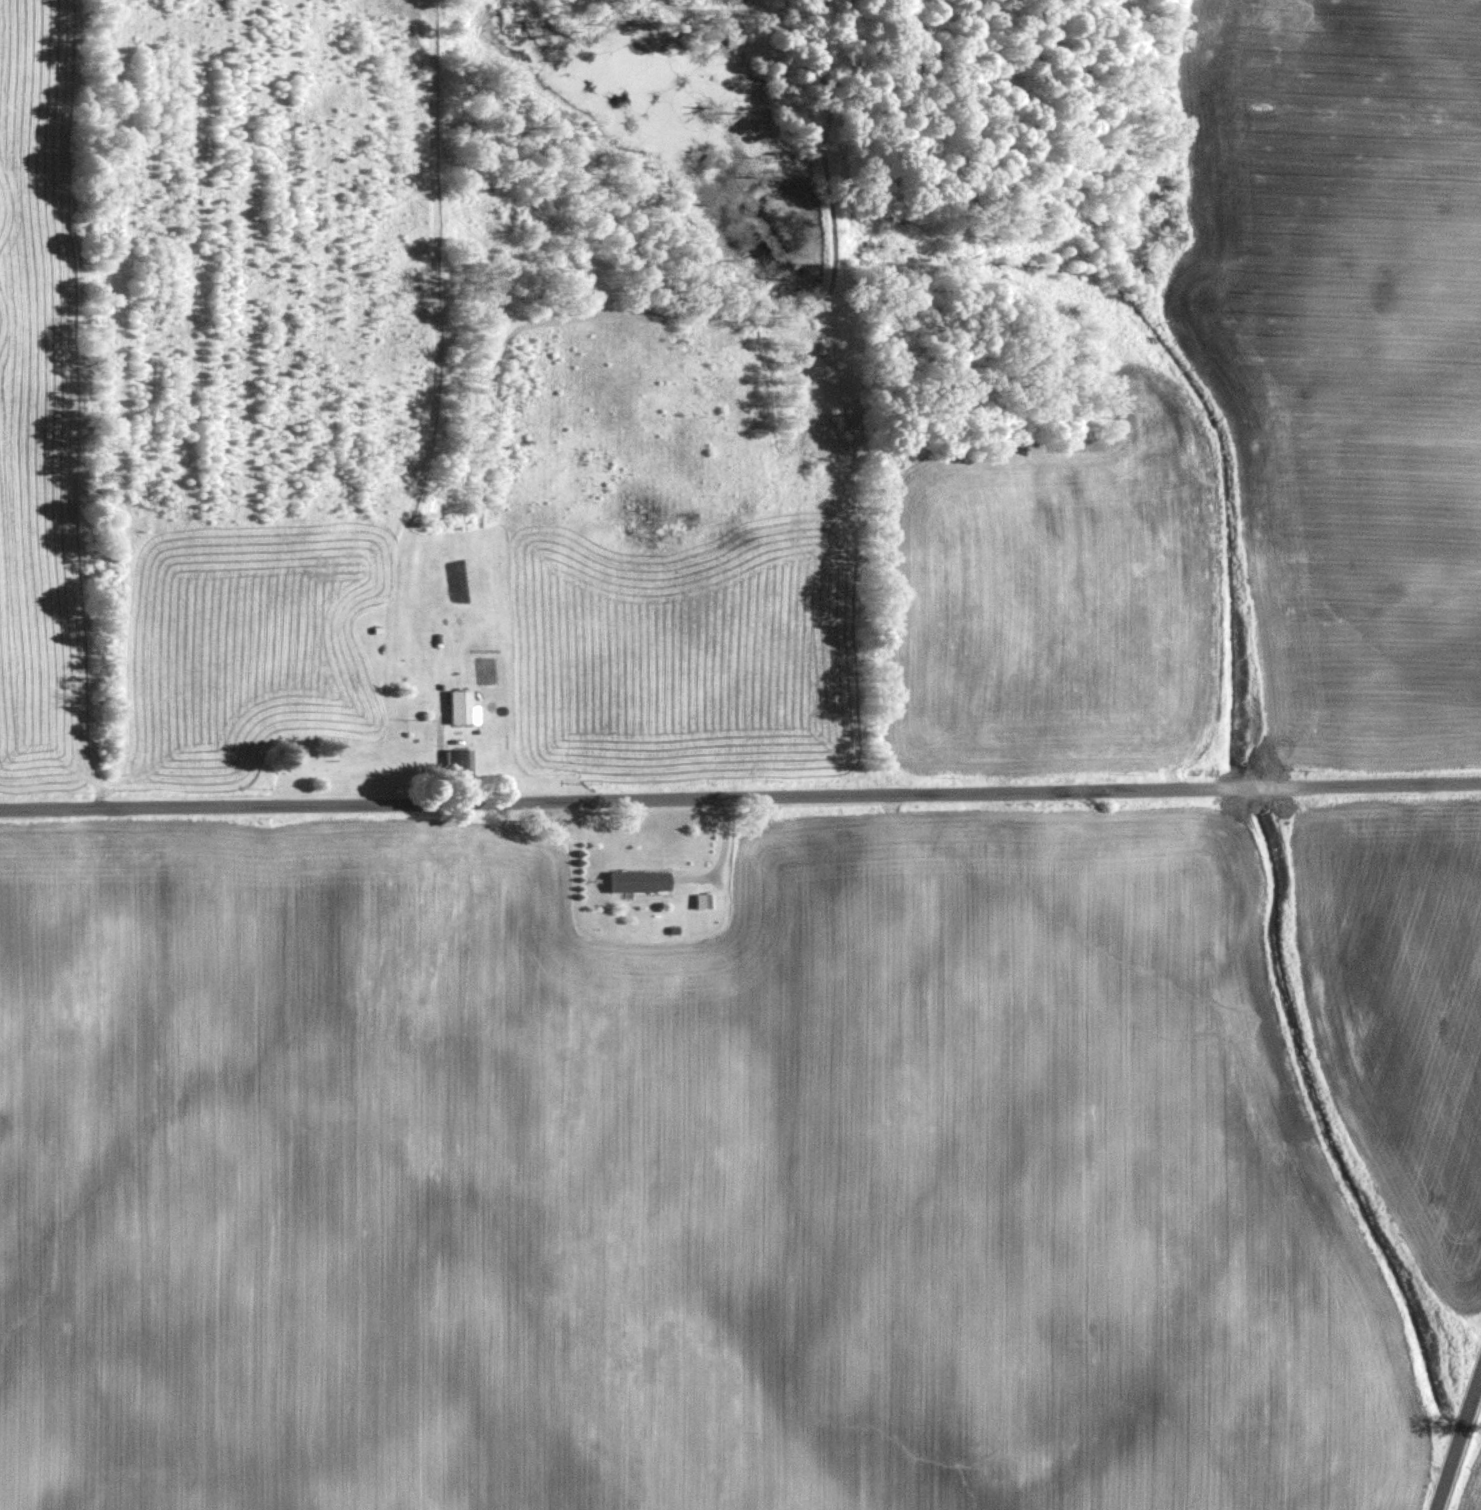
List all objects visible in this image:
crop: (1347, 356)
road: (428, 401)
building: (460, 705)
building: (457, 760)
road: (740, 794)
building: (640, 879)
building: (704, 899)
road: (1461, 1447)

